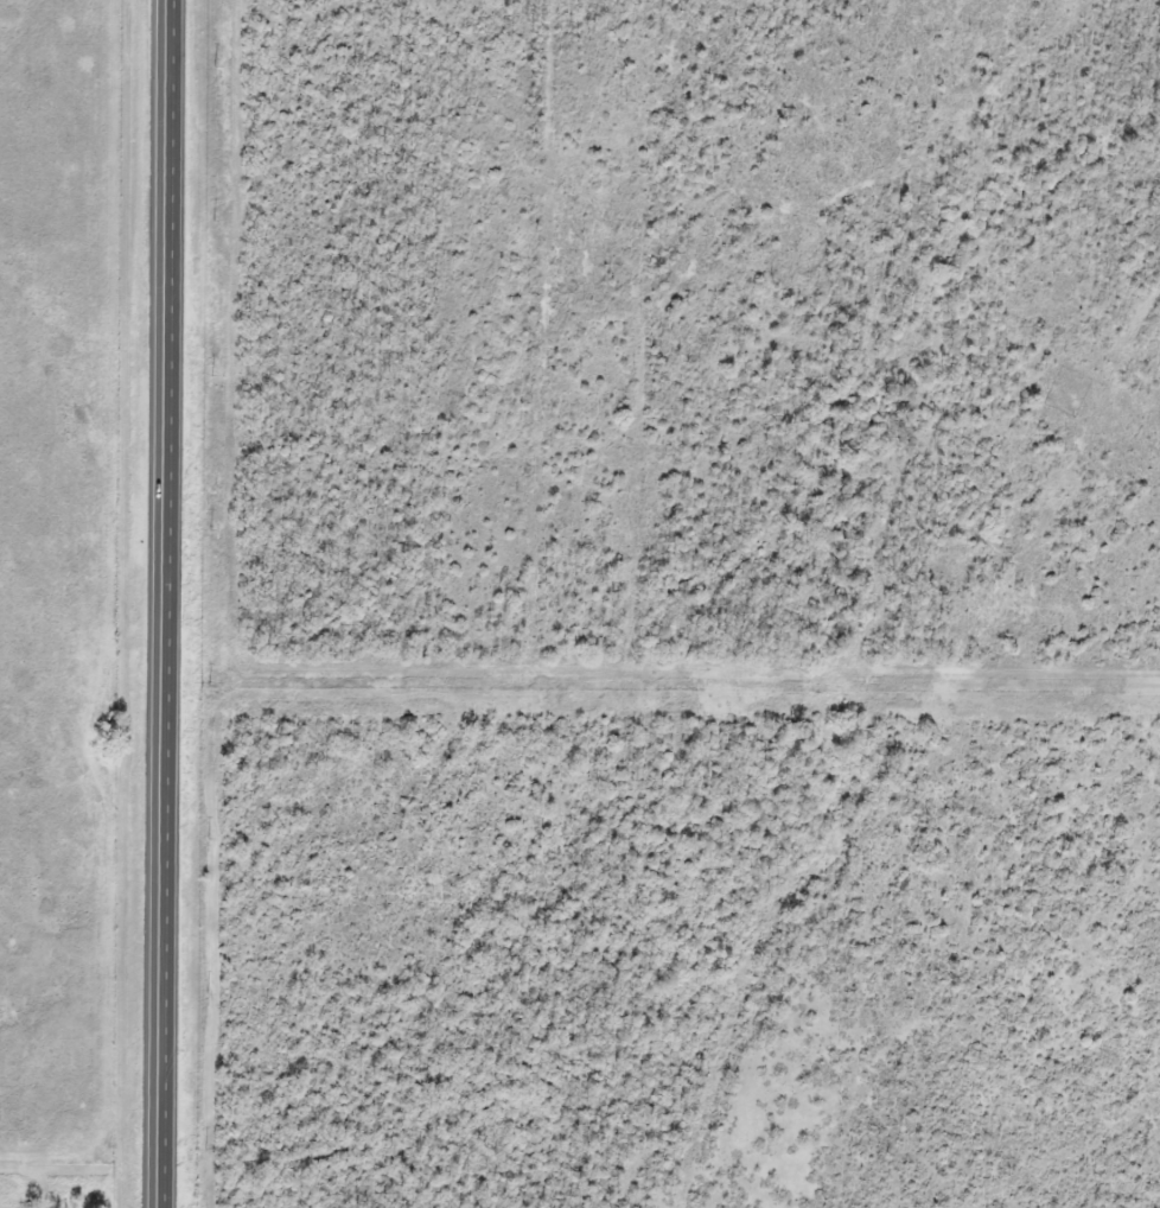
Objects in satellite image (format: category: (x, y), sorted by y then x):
road: (171, 604)

